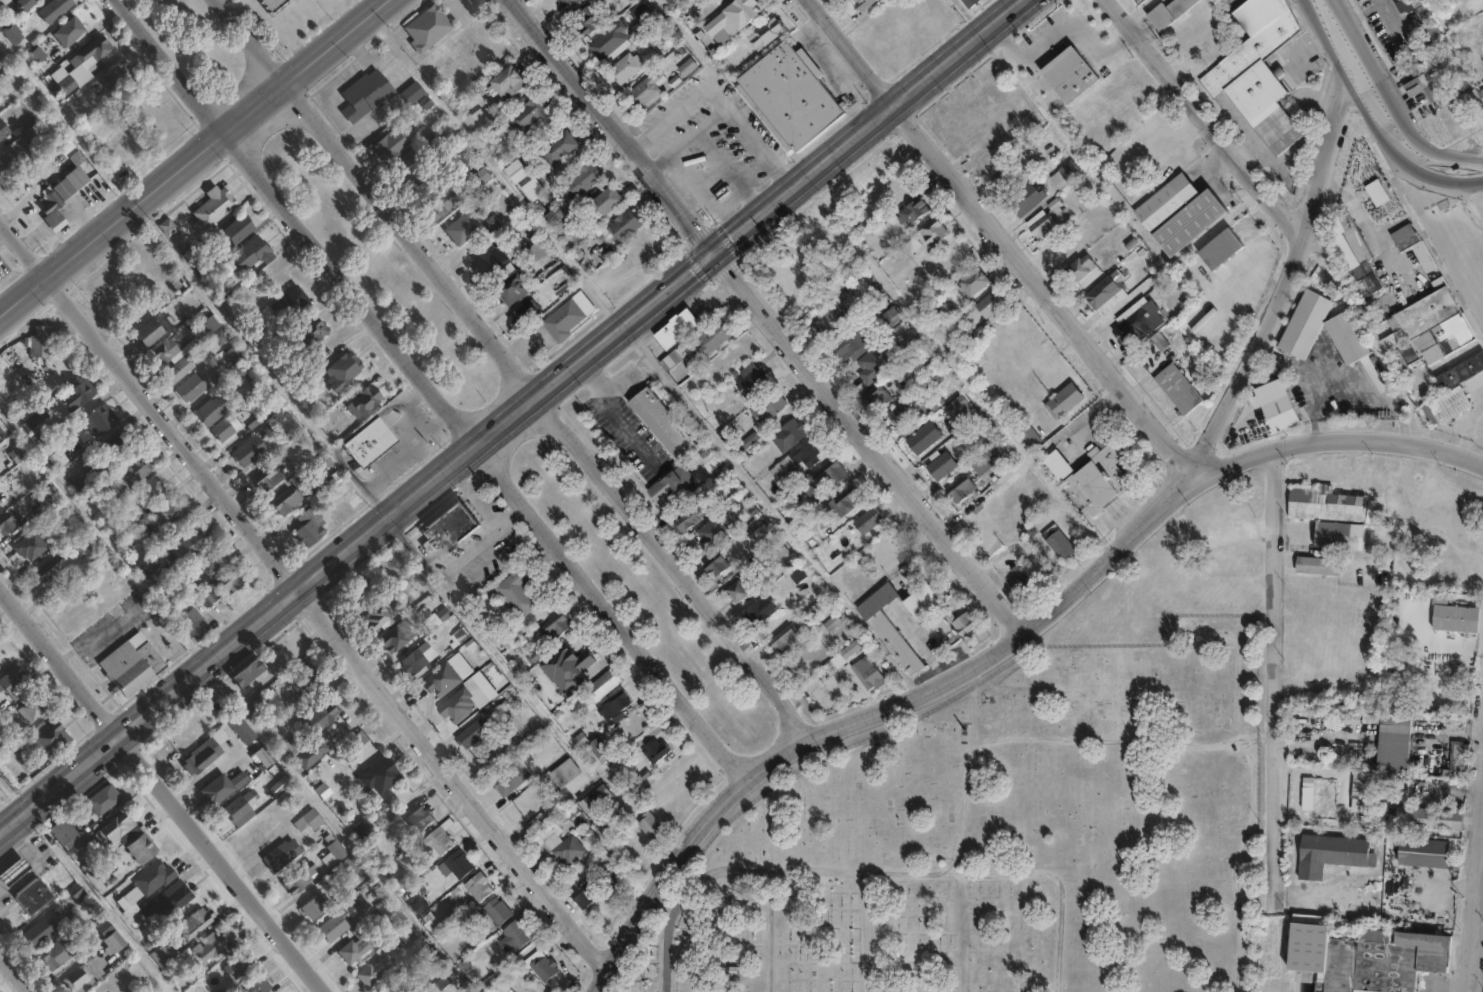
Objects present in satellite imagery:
building: (671, 0)
building: (715, 2)
building: (1141, 2)
building: (4, 3)
building: (26, 4)
building: (276, 4)
building: (860, 5)
building: (966, 5)
building: (565, 7)
building: (678, 8)
building: (56, 9)
building: (642, 11)
building: (1171, 13)
building: (740, 14)
building: (1422, 15)
building: (0, 19)
building: (644, 21)
building: (588, 23)
building: (430, 27)
road: (1060, 28)
building: (70, 31)
building: (14, 35)
building: (762, 37)
park: (192, 42)
road: (336, 42)
building: (47, 44)
building: (607, 46)
building: (96, 50)
building: (682, 67)
building: (623, 71)
building: (1257, 73)
building: (1068, 74)
building: (112, 77)
building: (506, 80)
building: (10, 81)
building: (1417, 81)
building: (62, 82)
road: (1364, 82)
building: (1478, 88)
building: (413, 93)
building: (644, 93)
building: (367, 95)
building: (787, 97)
road: (722, 106)
building: (522, 114)
building: (467, 117)
road: (1206, 121)
building: (4, 130)
road: (688, 139)
road: (1176, 139)
building: (553, 145)
building: (393, 146)
road: (1462, 147)
building: (120, 150)
building: (19, 156)
road: (1445, 165)
building: (407, 166)
building: (515, 170)
building: (1058, 170)
building: (468, 172)
road: (728, 174)
building: (580, 175)
road: (1206, 175)
building: (77, 178)
building: (1005, 180)
building: (64, 189)
building: (422, 189)
building: (533, 191)
building: (1376, 193)
road: (782, 198)
road: (142, 199)
road: (378, 199)
building: (598, 199)
building: (1024, 199)
building: (441, 204)
building: (906, 206)
building: (214, 208)
building: (54, 210)
building: (915, 210)
building: (550, 212)
building: (1179, 212)
building: (1048, 219)
building: (485, 220)
building: (620, 222)
building: (925, 226)
building: (169, 227)
road: (289, 228)
road: (1446, 228)
building: (240, 229)
building: (464, 229)
building: (1398, 229)
road: (1001, 240)
building: (1414, 248)
building: (1221, 249)
building: (1350, 250)
building: (573, 253)
building: (252, 254)
building: (482, 256)
building: (204, 265)
park: (377, 268)
building: (1079, 271)
road: (1289, 278)
building: (974, 282)
building: (507, 285)
building: (1102, 293)
building: (291, 303)
building: (990, 303)
building: (517, 313)
building: (886, 313)
building: (561, 314)
road: (770, 315)
building: (833, 319)
building: (1140, 324)
building: (673, 327)
building: (1427, 328)
building: (155, 329)
building: (215, 330)
building: (312, 332)
building: (1299, 334)
building: (712, 337)
building: (848, 341)
building: (40, 343)
building: (166, 352)
building: (670, 359)
building: (874, 363)
building: (180, 370)
building: (1460, 370)
building: (345, 372)
building: (243, 374)
building: (751, 379)
building: (1175, 385)
building: (192, 388)
building: (80, 394)
building: (1063, 396)
building: (878, 397)
building: (366, 402)
building: (934, 402)
building: (1275, 404)
building: (1448, 404)
building: (956, 405)
building: (772, 407)
building: (214, 410)
building: (902, 412)
road: (612, 413)
building: (259, 417)
building: (966, 417)
building: (37, 419)
building: (97, 422)
building: (661, 424)
road: (432, 425)
road: (504, 427)
building: (226, 428)
building: (1028, 431)
building: (2, 432)
building: (787, 434)
building: (924, 438)
road: (1337, 440)
building: (371, 442)
building: (250, 450)
building: (18, 453)
building: (55, 453)
road: (404, 455)
building: (795, 458)
building: (105, 459)
building: (1052, 462)
building: (983, 464)
building: (942, 467)
building: (132, 472)
building: (827, 474)
building: (1097, 474)
building: (271, 475)
building: (660, 486)
building: (152, 489)
building: (961, 489)
building: (346, 494)
building: (290, 500)
building: (0, 501)
building: (846, 502)
building: (1329, 502)
building: (170, 513)
building: (686, 515)
building: (871, 520)
building: (7, 522)
building: (311, 526)
building: (445, 529)
building: (712, 533)
building: (1328, 533)
building: (1053, 540)
building: (30, 546)
building: (188, 546)
building: (213, 560)
building: (1320, 563)
building: (717, 564)
building: (146, 565)
road: (673, 568)
building: (795, 571)
building: (54, 572)
building: (1015, 576)
building: (232, 580)
building: (745, 582)
building: (360, 593)
building: (517, 594)
park: (642, 595)
building: (210, 597)
road: (303, 597)
building: (760, 610)
building: (377, 616)
building: (1458, 617)
building: (912, 618)
road: (607, 619)
building: (825, 619)
building: (195, 623)
building: (559, 628)
building: (394, 639)
building: (782, 639)
road: (234, 644)
building: (414, 662)
building: (133, 667)
building: (567, 667)
building: (251, 672)
building: (863, 672)
building: (305, 674)
building: (445, 679)
road: (1272, 682)
building: (15, 683)
building: (604, 685)
building: (498, 704)
building: (456, 707)
building: (614, 708)
building: (33, 709)
road: (871, 715)
building: (321, 718)
building: (243, 730)
building: (476, 733)
building: (1392, 738)
building: (51, 739)
building: (580, 743)
building: (600, 750)
building: (655, 750)
building: (206, 752)
building: (265, 756)
building: (1447, 757)
building: (307, 758)
building: (1459, 758)
building: (564, 774)
building: (380, 776)
building: (514, 780)
building: (1352, 782)
building: (224, 787)
road: (163, 788)
building: (1361, 791)
building: (1308, 793)
building: (105, 799)
building: (593, 799)
building: (242, 808)
building: (1431, 817)
building: (574, 818)
building: (422, 820)
building: (309, 823)
building: (650, 827)
building: (363, 828)
building: (65, 832)
building: (112, 833)
building: (442, 840)
park: (1001, 842)
building: (142, 848)
building: (338, 850)
building: (564, 850)
building: (1322, 851)
building: (1423, 853)
building: (283, 855)
building: (458, 865)
building: (354, 866)
building: (16, 870)
road: (872, 871)
building: (154, 877)
building: (299, 877)
building: (607, 877)
building: (482, 887)
building: (78, 893)
building: (579, 894)
building: (37, 895)
building: (169, 902)
building: (315, 907)
road: (1476, 910)
building: (374, 912)
building: (501, 912)
building: (196, 923)
building: (339, 923)
building: (104, 926)
building: (42, 930)
road: (771, 931)
road: (868, 931)
building: (519, 935)
building: (116, 942)
building: (359, 945)
building: (212, 947)
road: (1269, 953)
building: (58, 954)
building: (167, 954)
building: (1364, 958)
building: (384, 962)
building: (236, 969)
building: (537, 969)
road: (16, 970)
building: (79, 977)
building: (258, 985)

